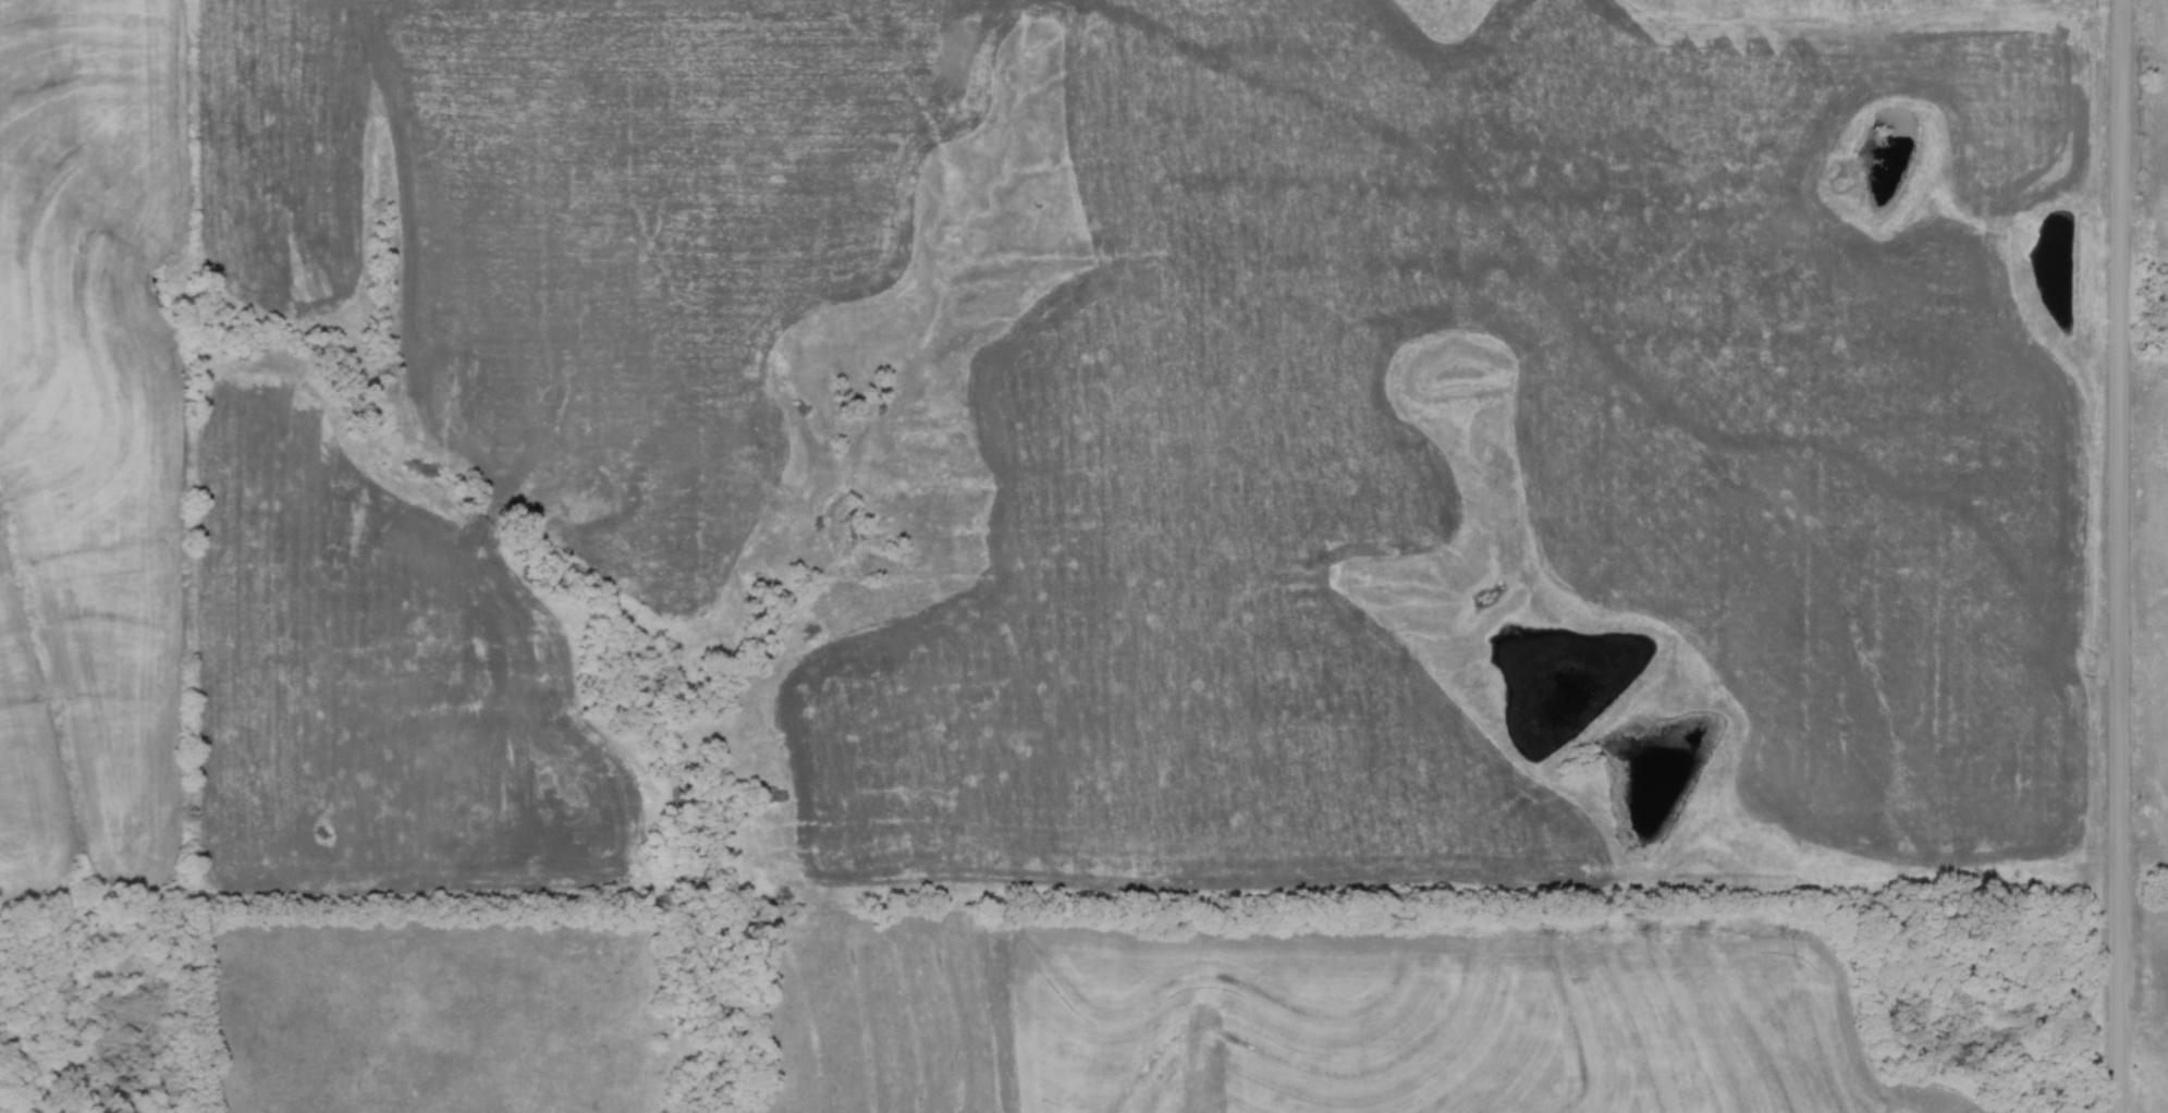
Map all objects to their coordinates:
road: (2120, 555)

